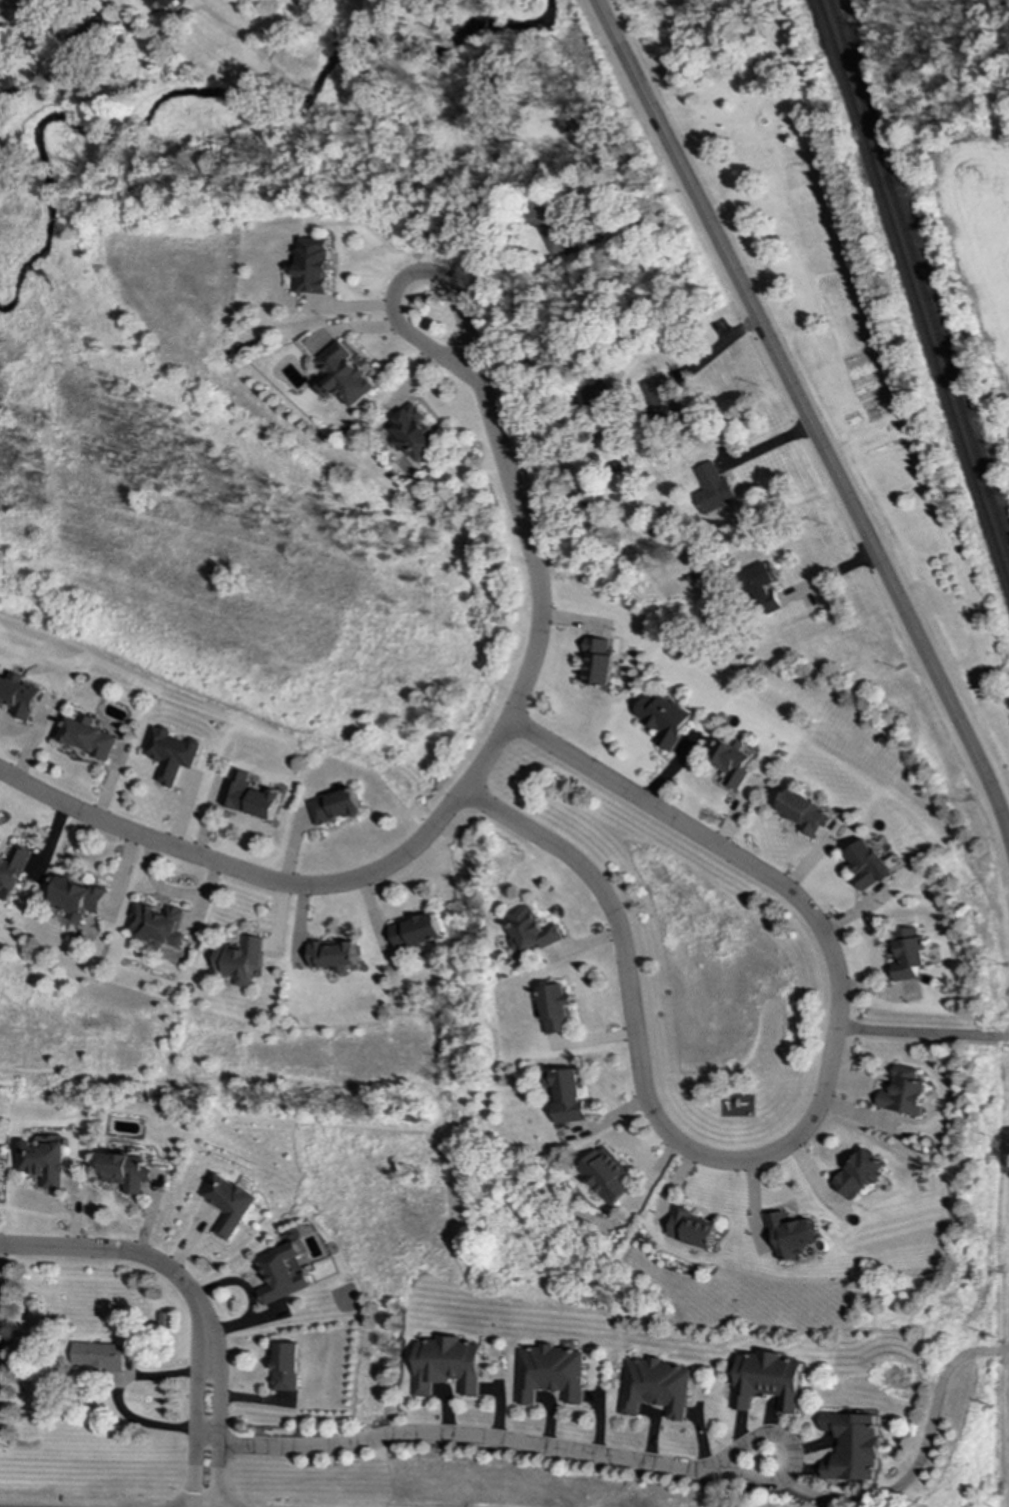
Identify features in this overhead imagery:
road: (9, 5)
building: (154, 5)
building: (8, 85)
building: (551, 227)
crop: (981, 233)
building: (312, 266)
road: (433, 278)
railway: (919, 278)
railway: (914, 294)
building: (343, 375)
building: (595, 394)
building: (659, 397)
road: (805, 414)
building: (416, 434)
road: (765, 445)
building: (712, 490)
road: (532, 550)
road: (830, 577)
building: (764, 588)
building: (601, 660)
building: (19, 696)
building: (666, 718)
building: (89, 738)
building: (172, 754)
building: (733, 763)
building: (250, 796)
building: (336, 807)
building: (805, 812)
building: (870, 864)
building: (12, 866)
road: (279, 886)
building: (75, 898)
building: (157, 924)
building: (530, 930)
building: (416, 932)
building: (332, 953)
building: (910, 953)
building: (238, 960)
building: (556, 1008)
road: (922, 1034)
building: (904, 1092)
building: (565, 1094)
road: (806, 1129)
building: (42, 1162)
building: (127, 1171)
building: (859, 1174)
building: (604, 1175)
building: (229, 1203)
building: (689, 1229)
building: (789, 1234)
road: (133, 1256)
building: (281, 1273)
building: (99, 1356)
building: (446, 1364)
building: (284, 1366)
building: (551, 1373)
building: (768, 1380)
building: (657, 1387)
road: (193, 1429)
road: (215, 1429)
road: (452, 1436)
building: (853, 1445)
road: (793, 1451)
road: (921, 1457)

